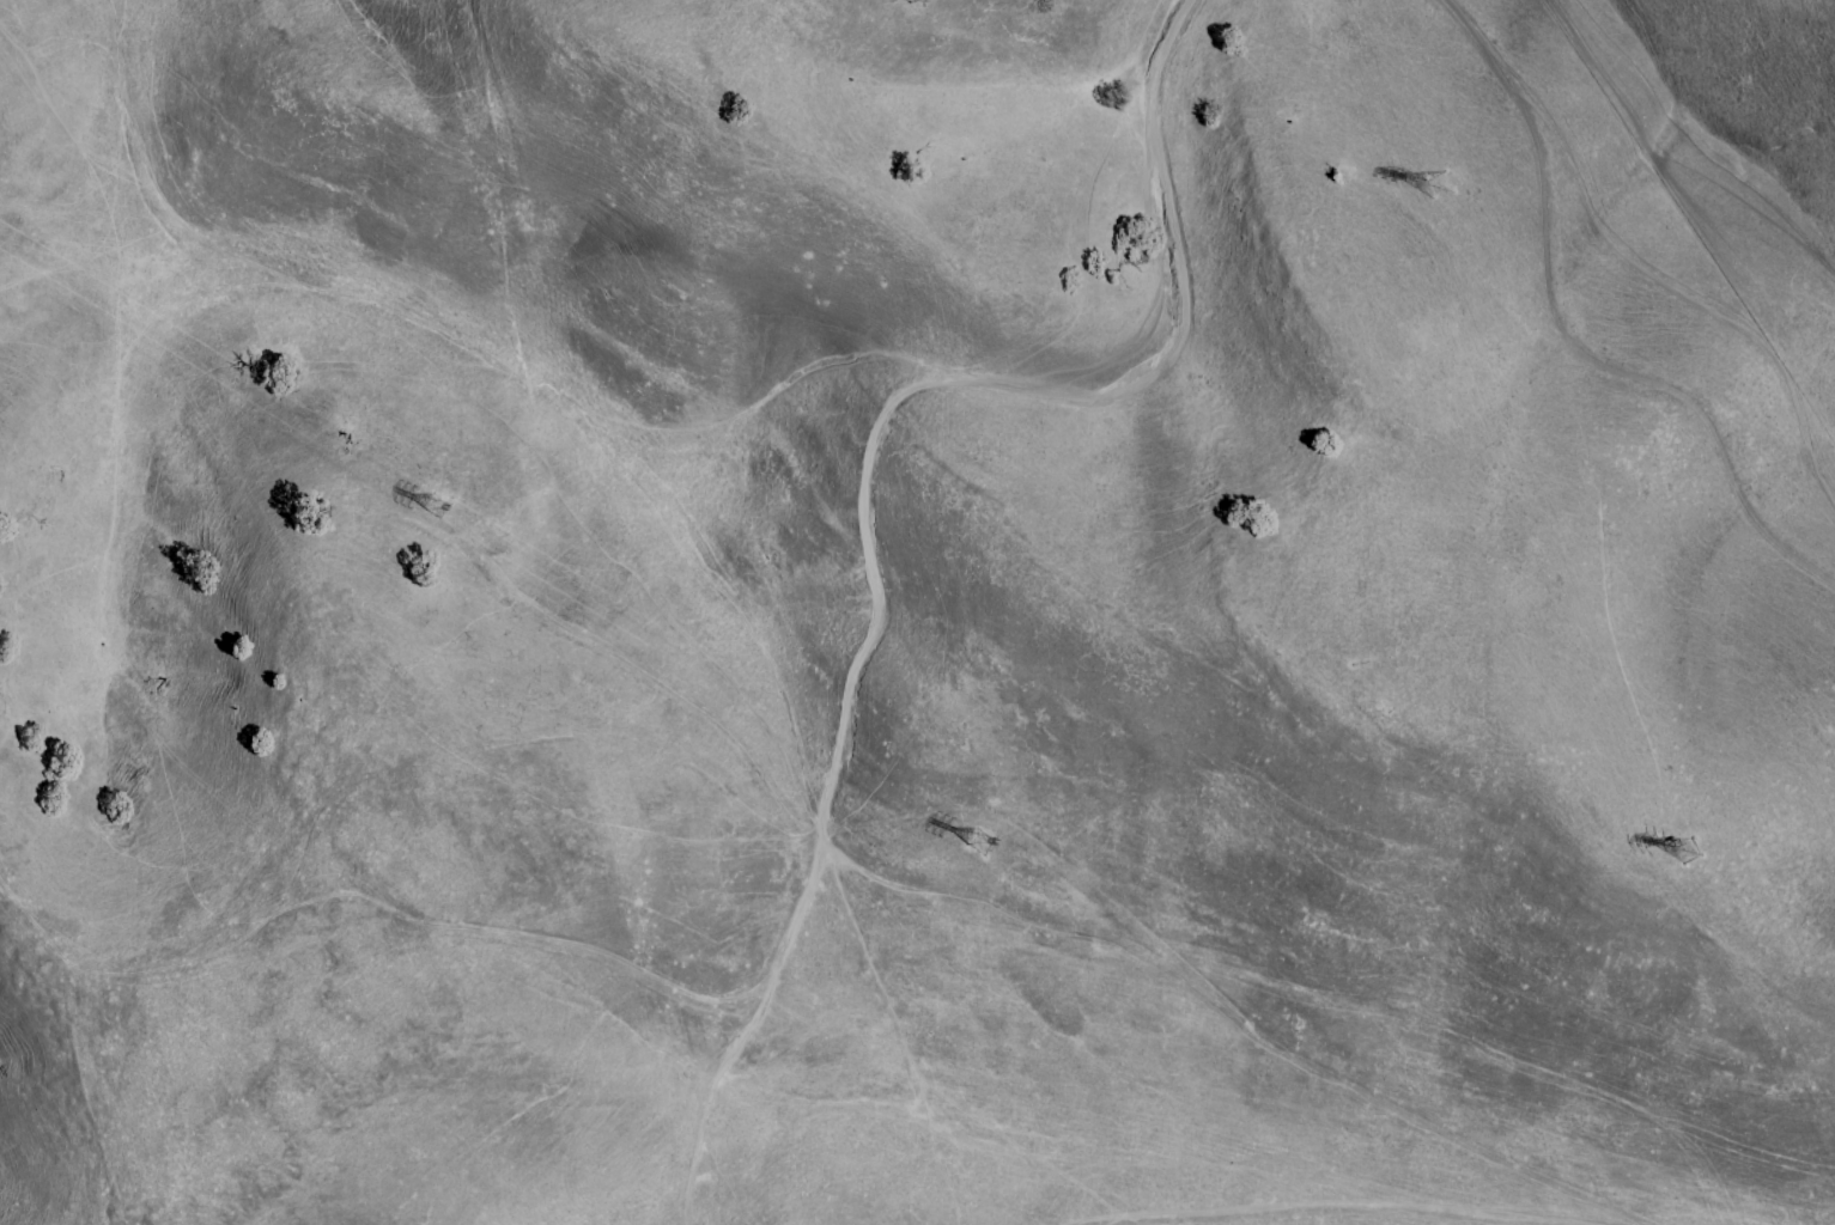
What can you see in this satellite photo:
power tower: (1433, 170)
road: (1566, 342)
power tower: (443, 524)
park: (917, 612)
power tower: (986, 851)
power tower: (1697, 857)
road: (807, 861)
road: (1371, 1209)

